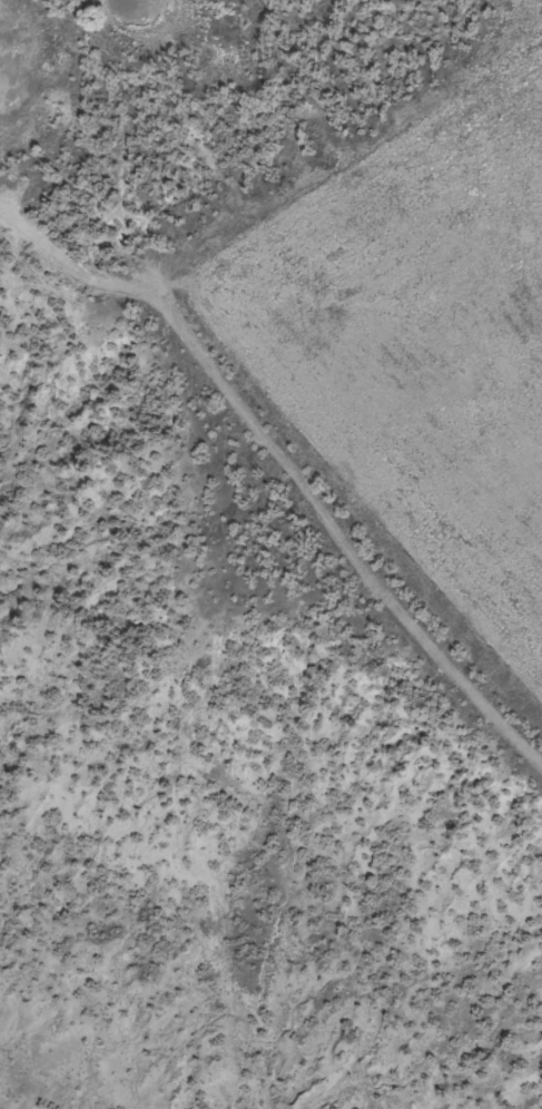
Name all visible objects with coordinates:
road: (513, 36)

